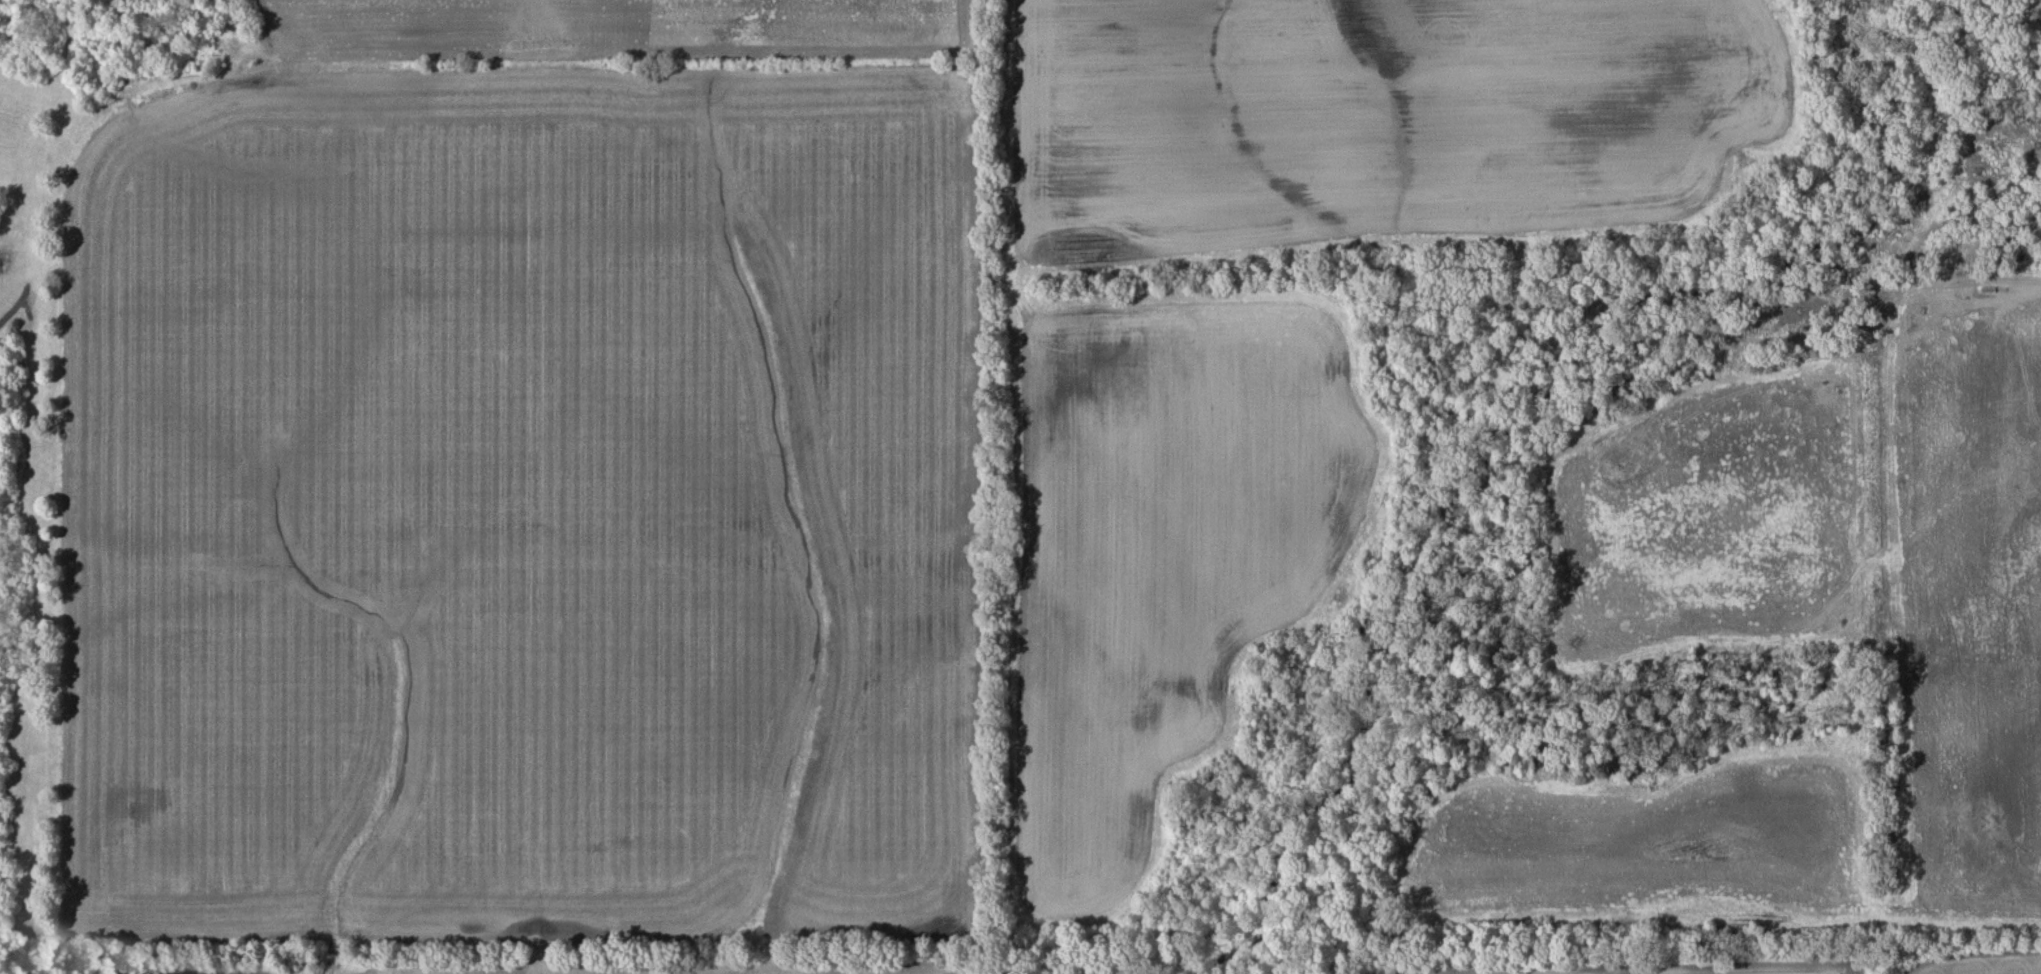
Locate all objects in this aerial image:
road: (2000, 25)
road: (1821, 294)
road: (1965, 298)
parking lot: (2009, 299)
park: (1517, 469)
parking lot: (1634, 514)
parking lot: (1653, 560)
road: (1599, 586)
building: (1717, 600)
road: (1602, 638)
road: (1597, 650)

